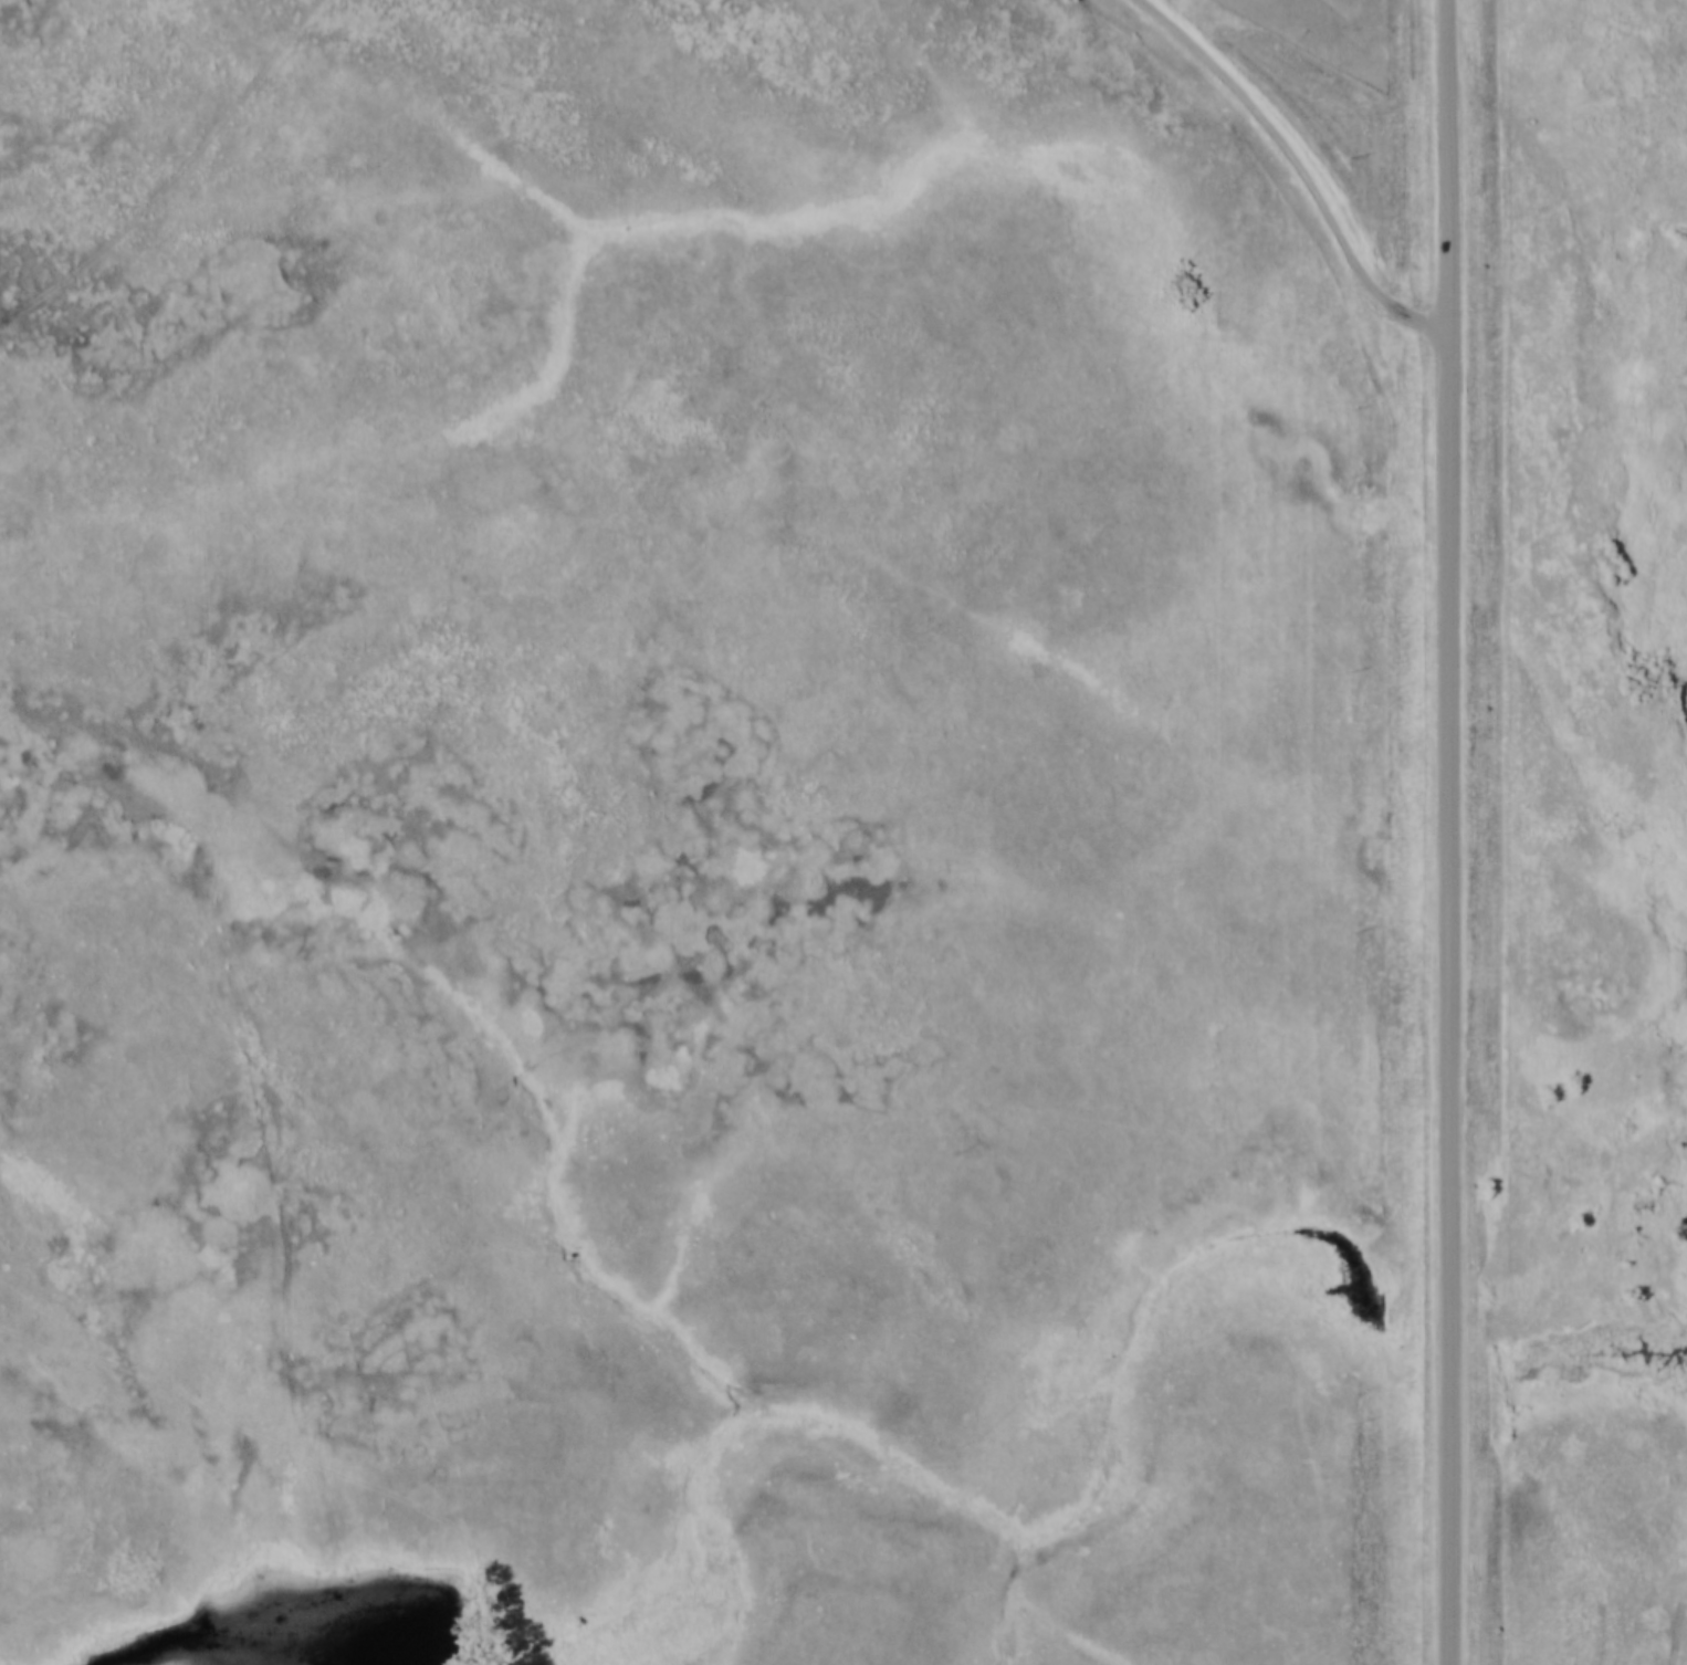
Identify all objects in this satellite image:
road: (1296, 164)
road: (171, 179)
road: (1452, 831)

